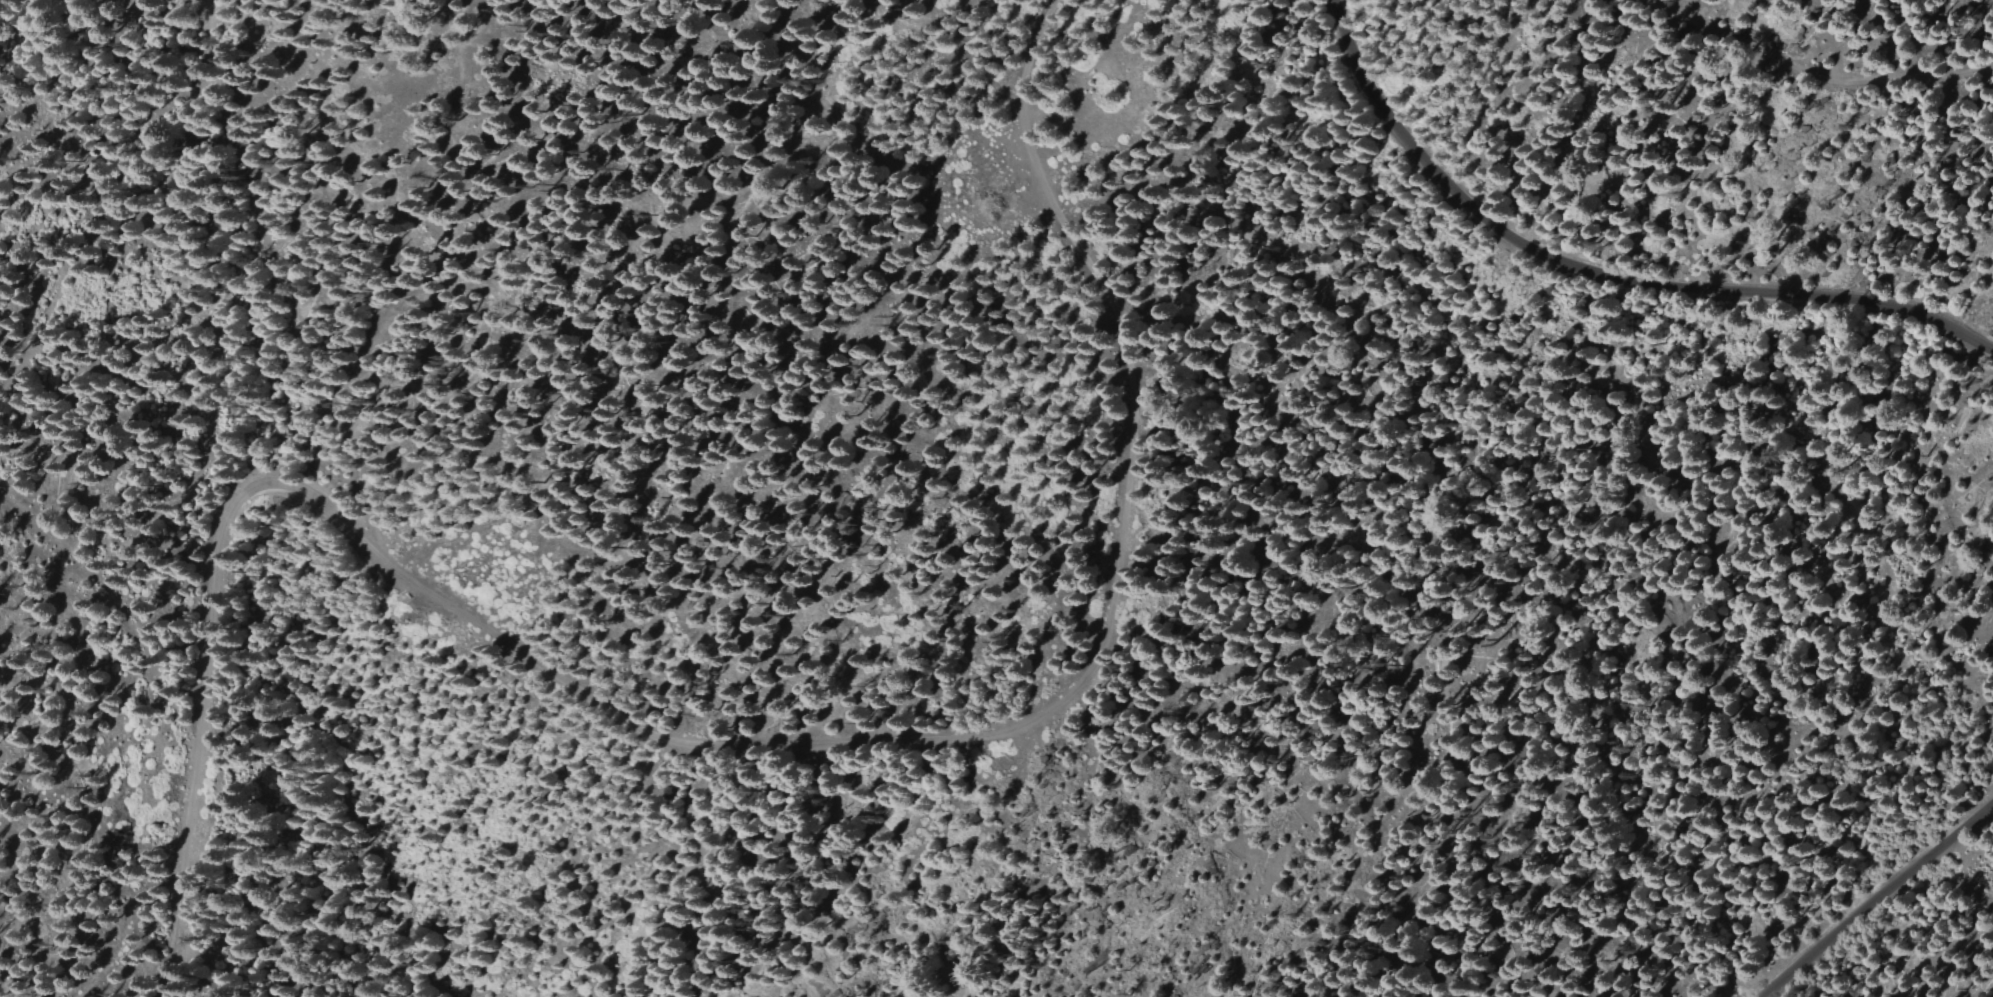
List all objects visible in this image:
road: (1817, 71)
road: (1601, 274)
road: (737, 730)
road: (1873, 898)

